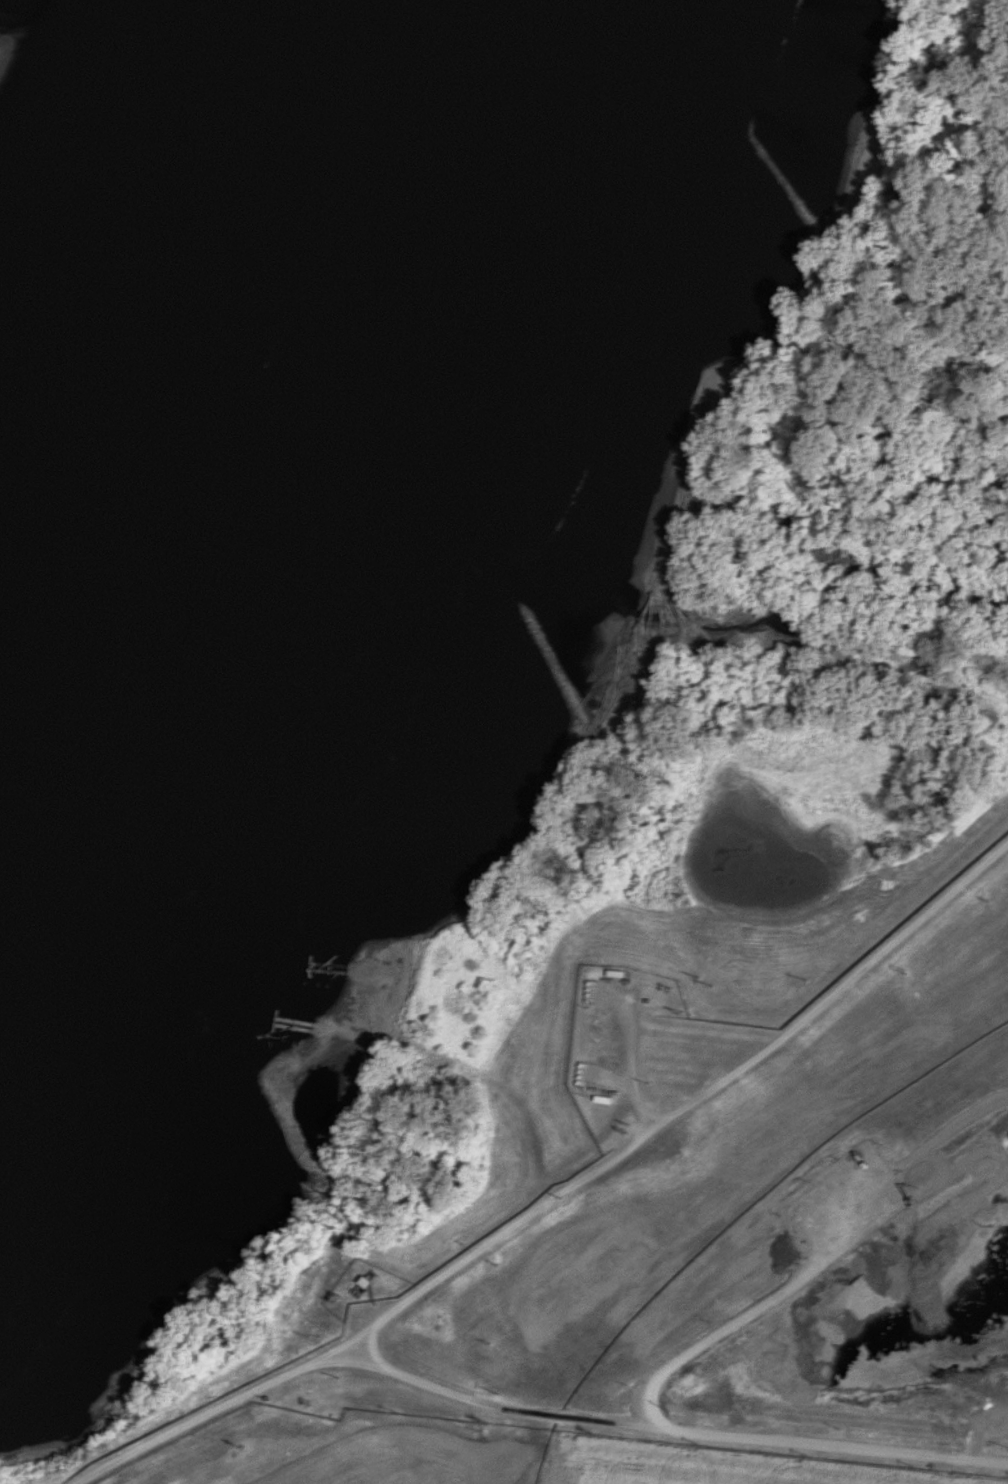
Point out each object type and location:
river: (235, 428)
road: (525, 1412)
crop: (410, 1457)
crop: (716, 1467)

